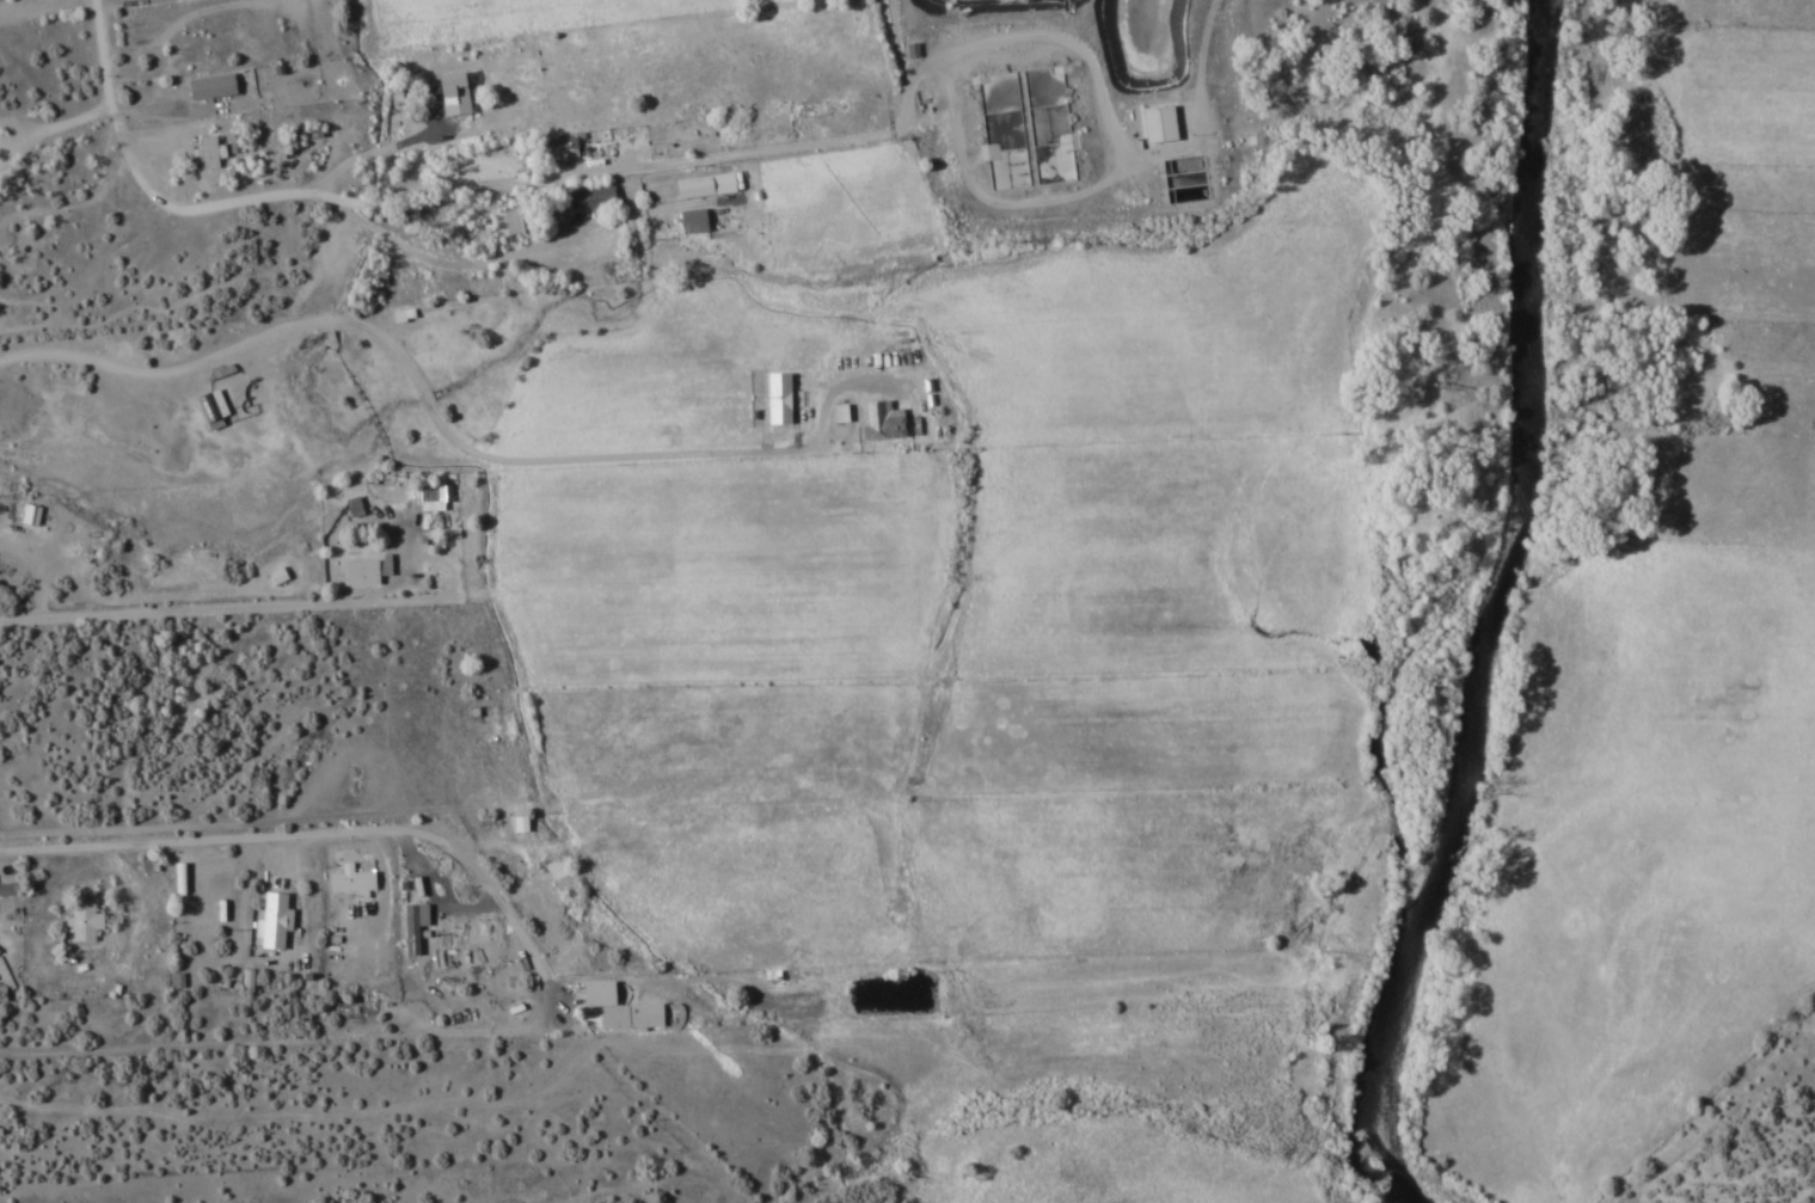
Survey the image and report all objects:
road: (39, 6)
building: (157, 32)
building: (207, 87)
building: (450, 97)
wastewater plant: (1073, 117)
building: (1023, 127)
building: (1161, 145)
building: (551, 149)
building: (206, 152)
road: (636, 166)
building: (588, 198)
road: (213, 205)
building: (503, 222)
building: (336, 247)
road: (398, 366)
road: (152, 370)
building: (774, 399)
building: (208, 407)
building: (879, 421)
road: (634, 455)
building: (349, 508)
building: (357, 573)
building: (272, 577)
road: (179, 610)
river: (1488, 615)
road: (312, 833)
building: (146, 865)
building: (552, 869)
building: (349, 879)
building: (4, 889)
building: (545, 915)
building: (80, 916)
building: (270, 919)
building: (147, 968)
building: (614, 1008)
road: (294, 1039)
road: (263, 1110)

